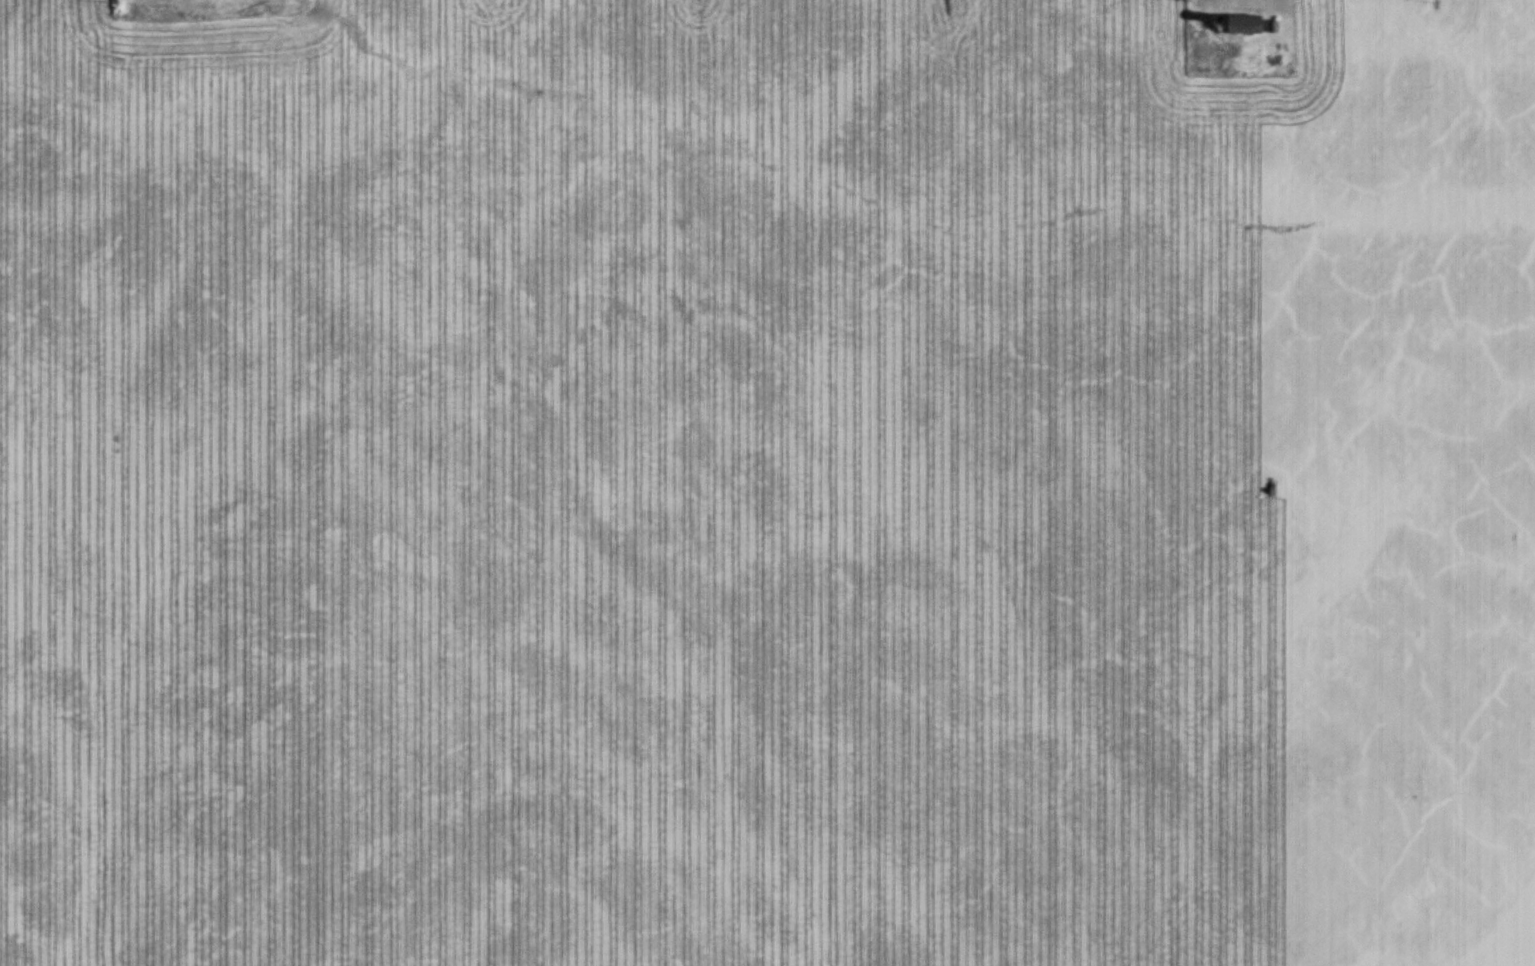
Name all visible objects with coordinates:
building: (1246, 26)

